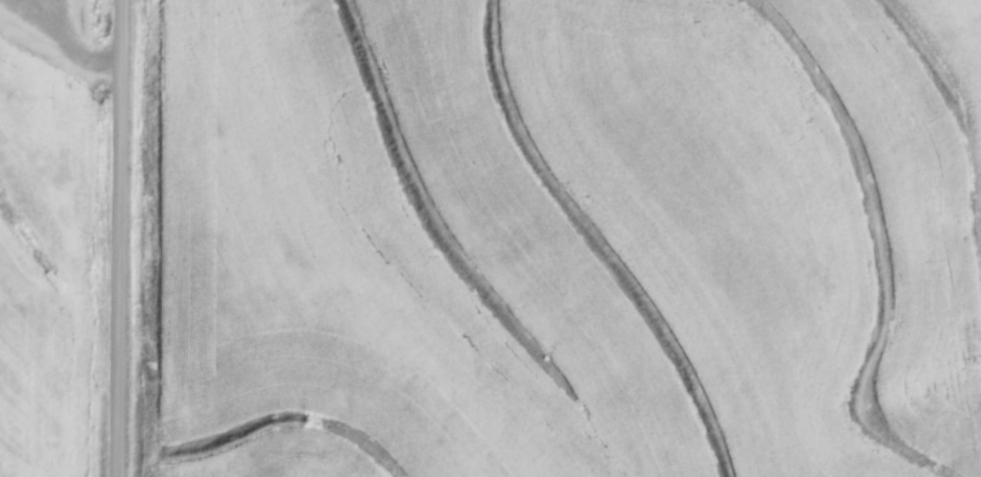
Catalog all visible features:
road: (120, 238)

